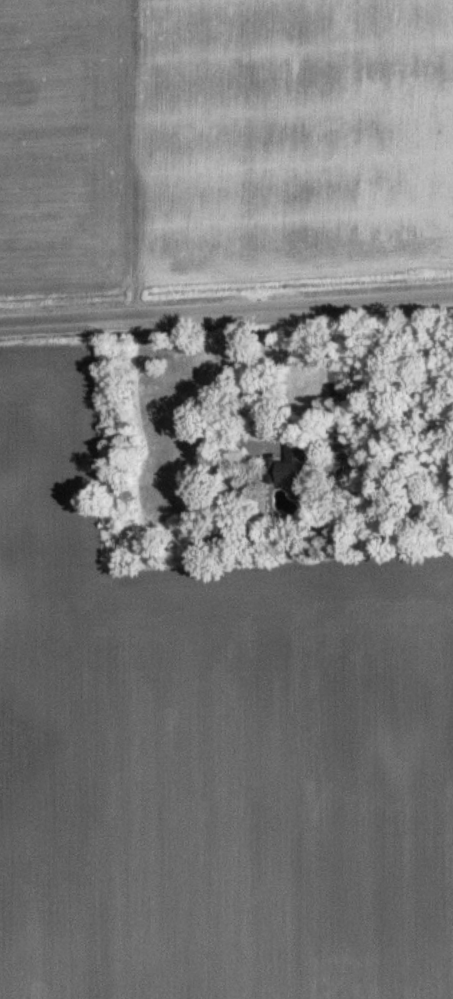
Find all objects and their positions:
road: (226, 303)
building: (290, 464)

